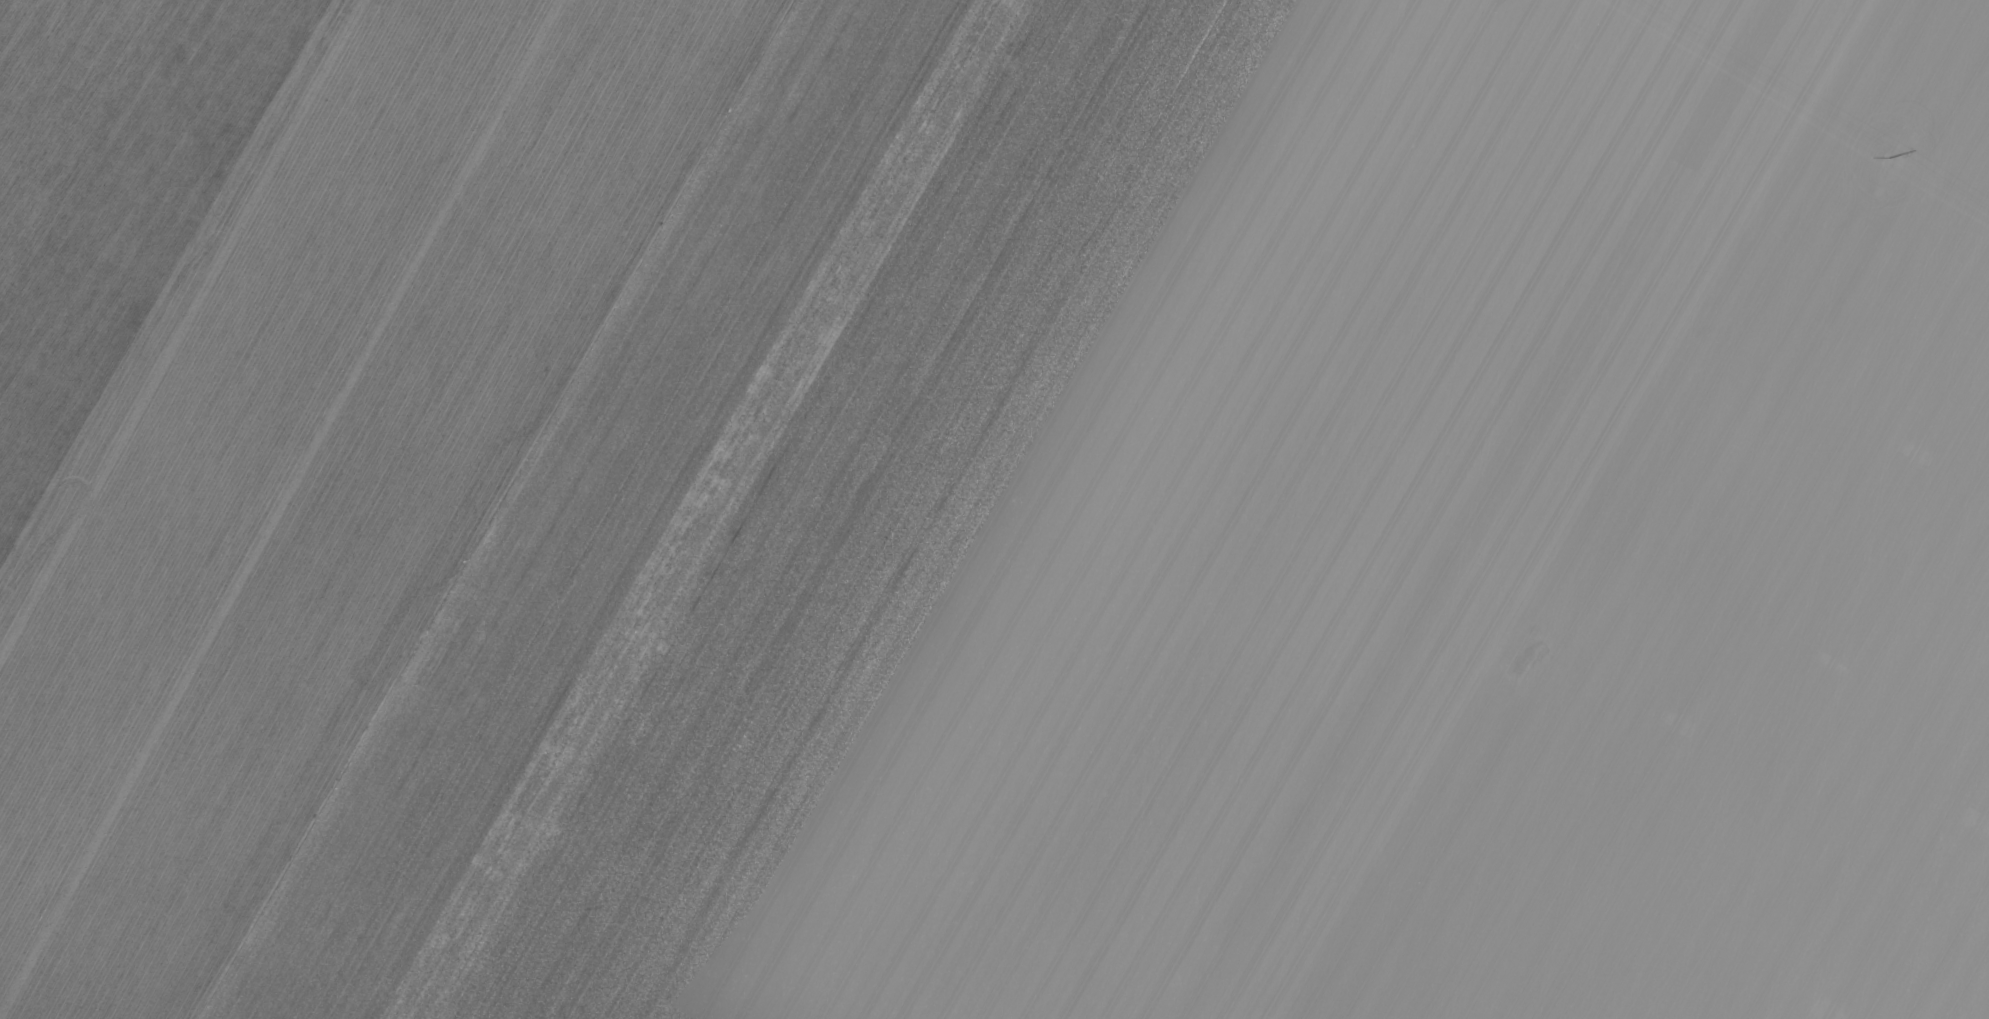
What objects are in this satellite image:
power tower: (1885, 158)

